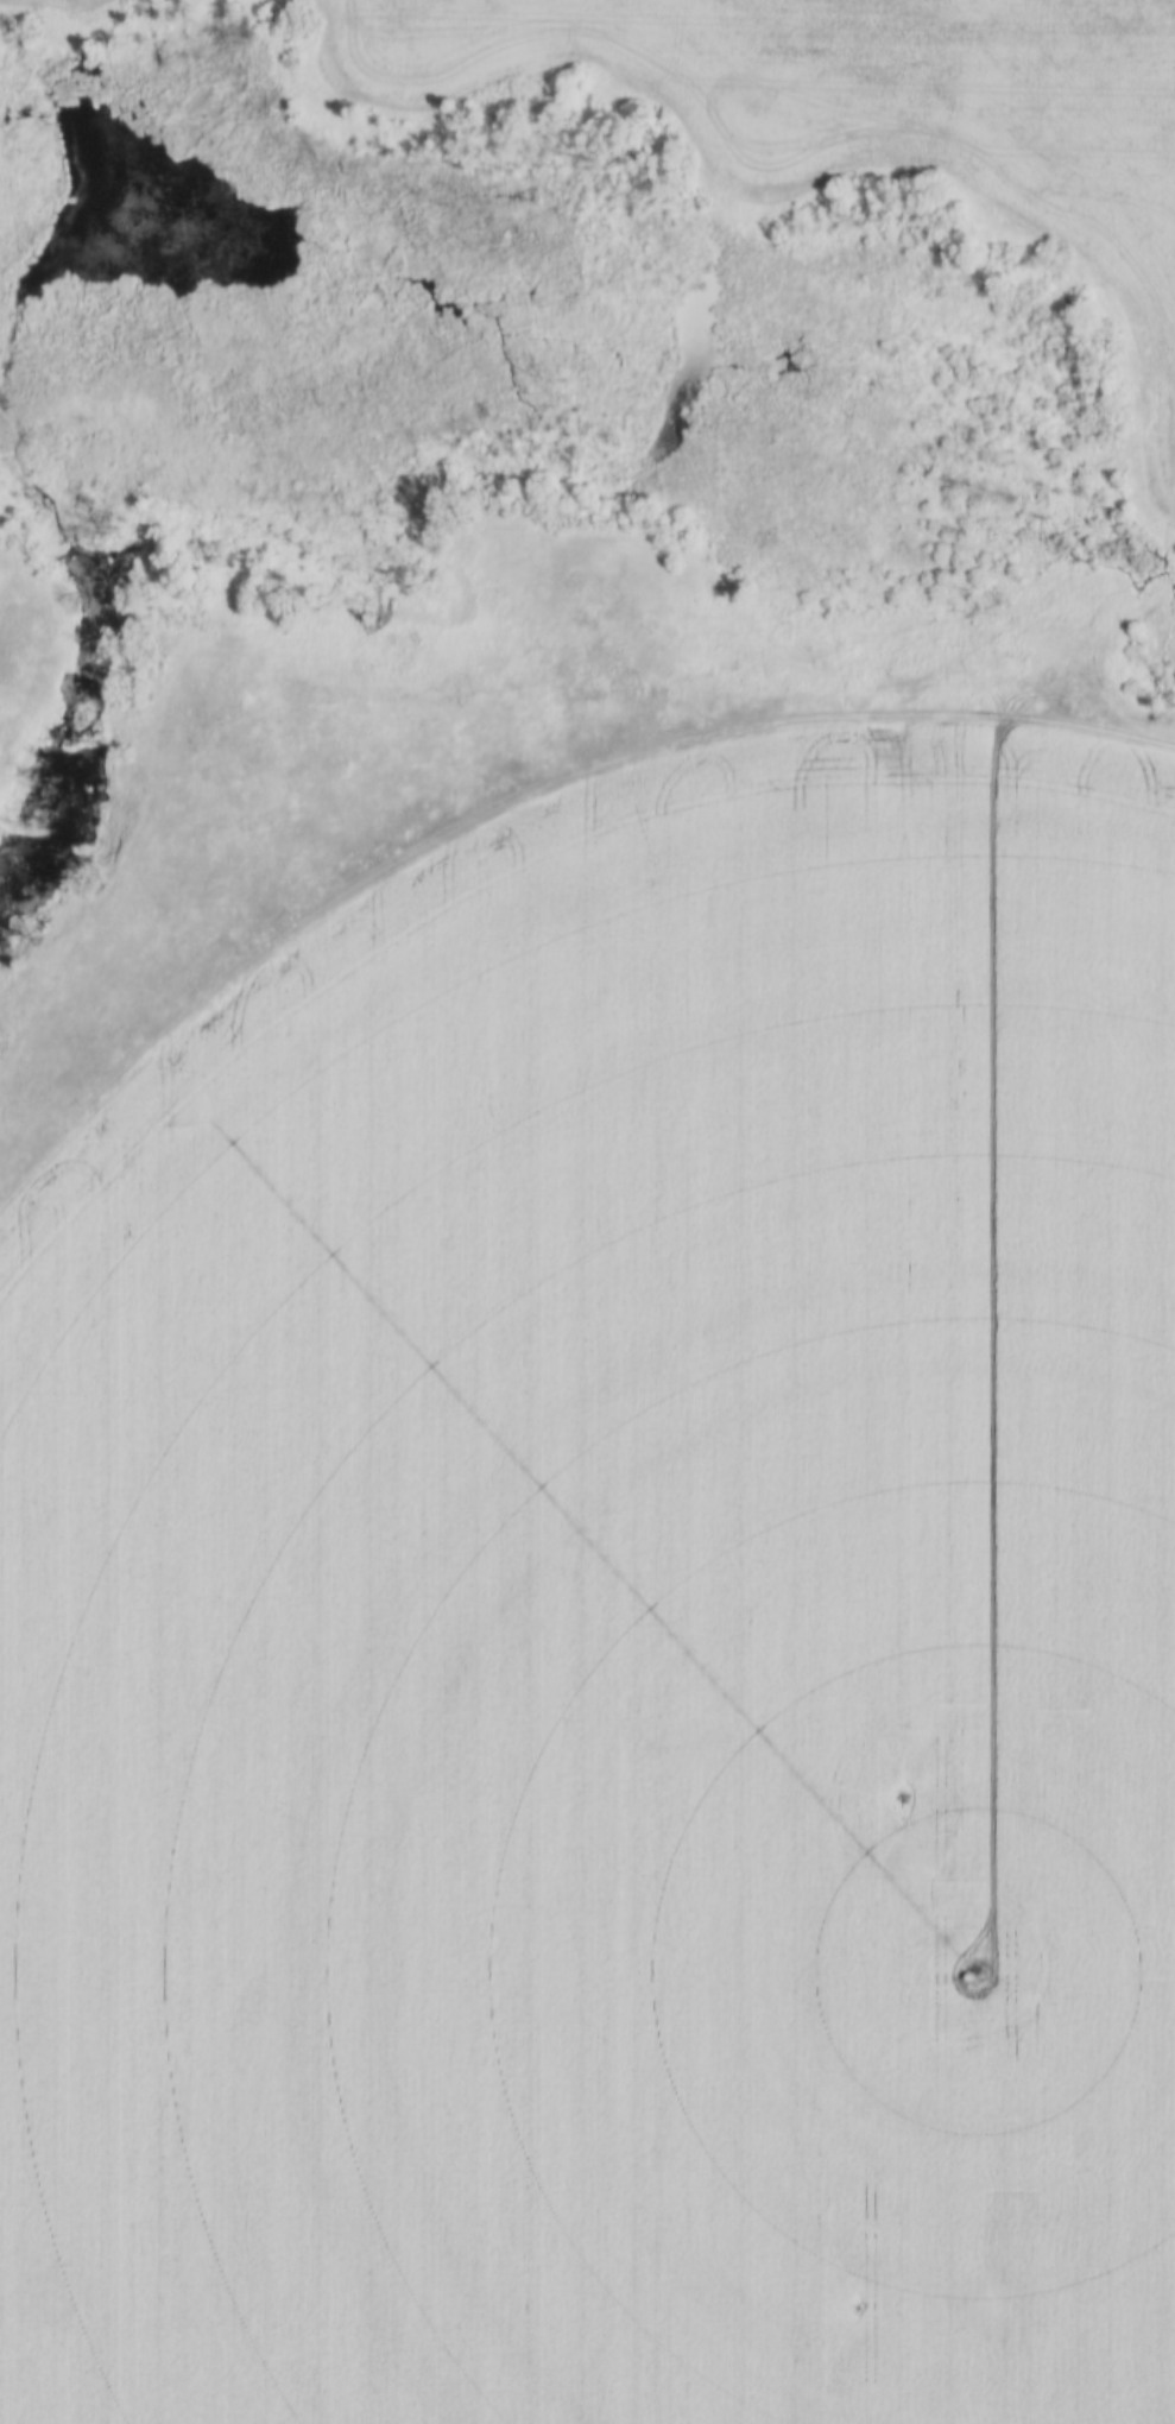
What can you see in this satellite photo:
road: (524, 797)

